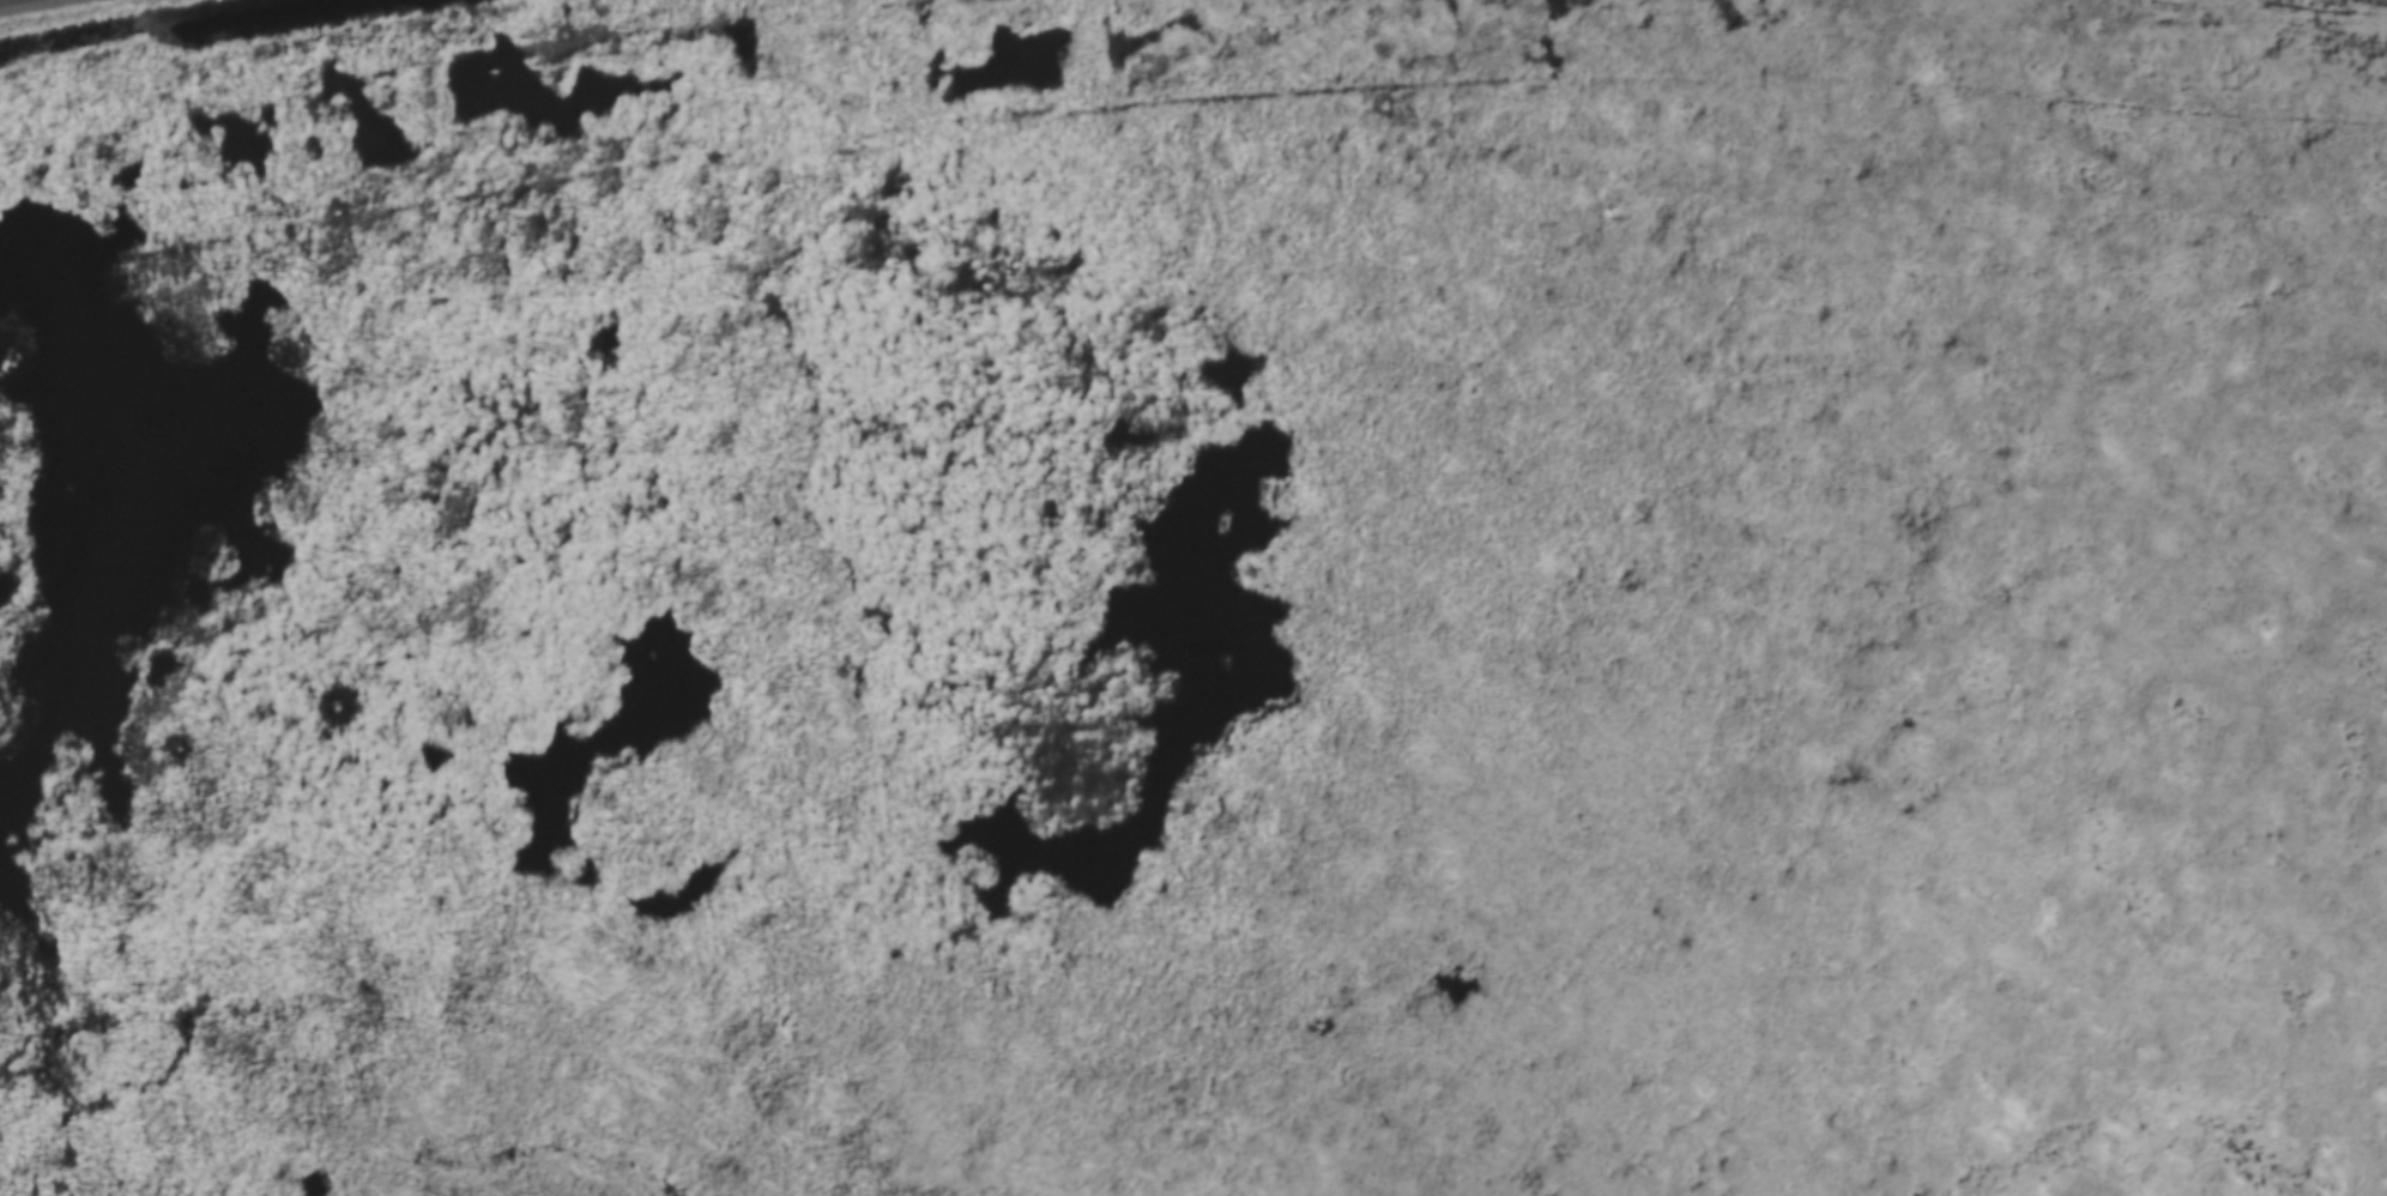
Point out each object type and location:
river: (186, 1002)

